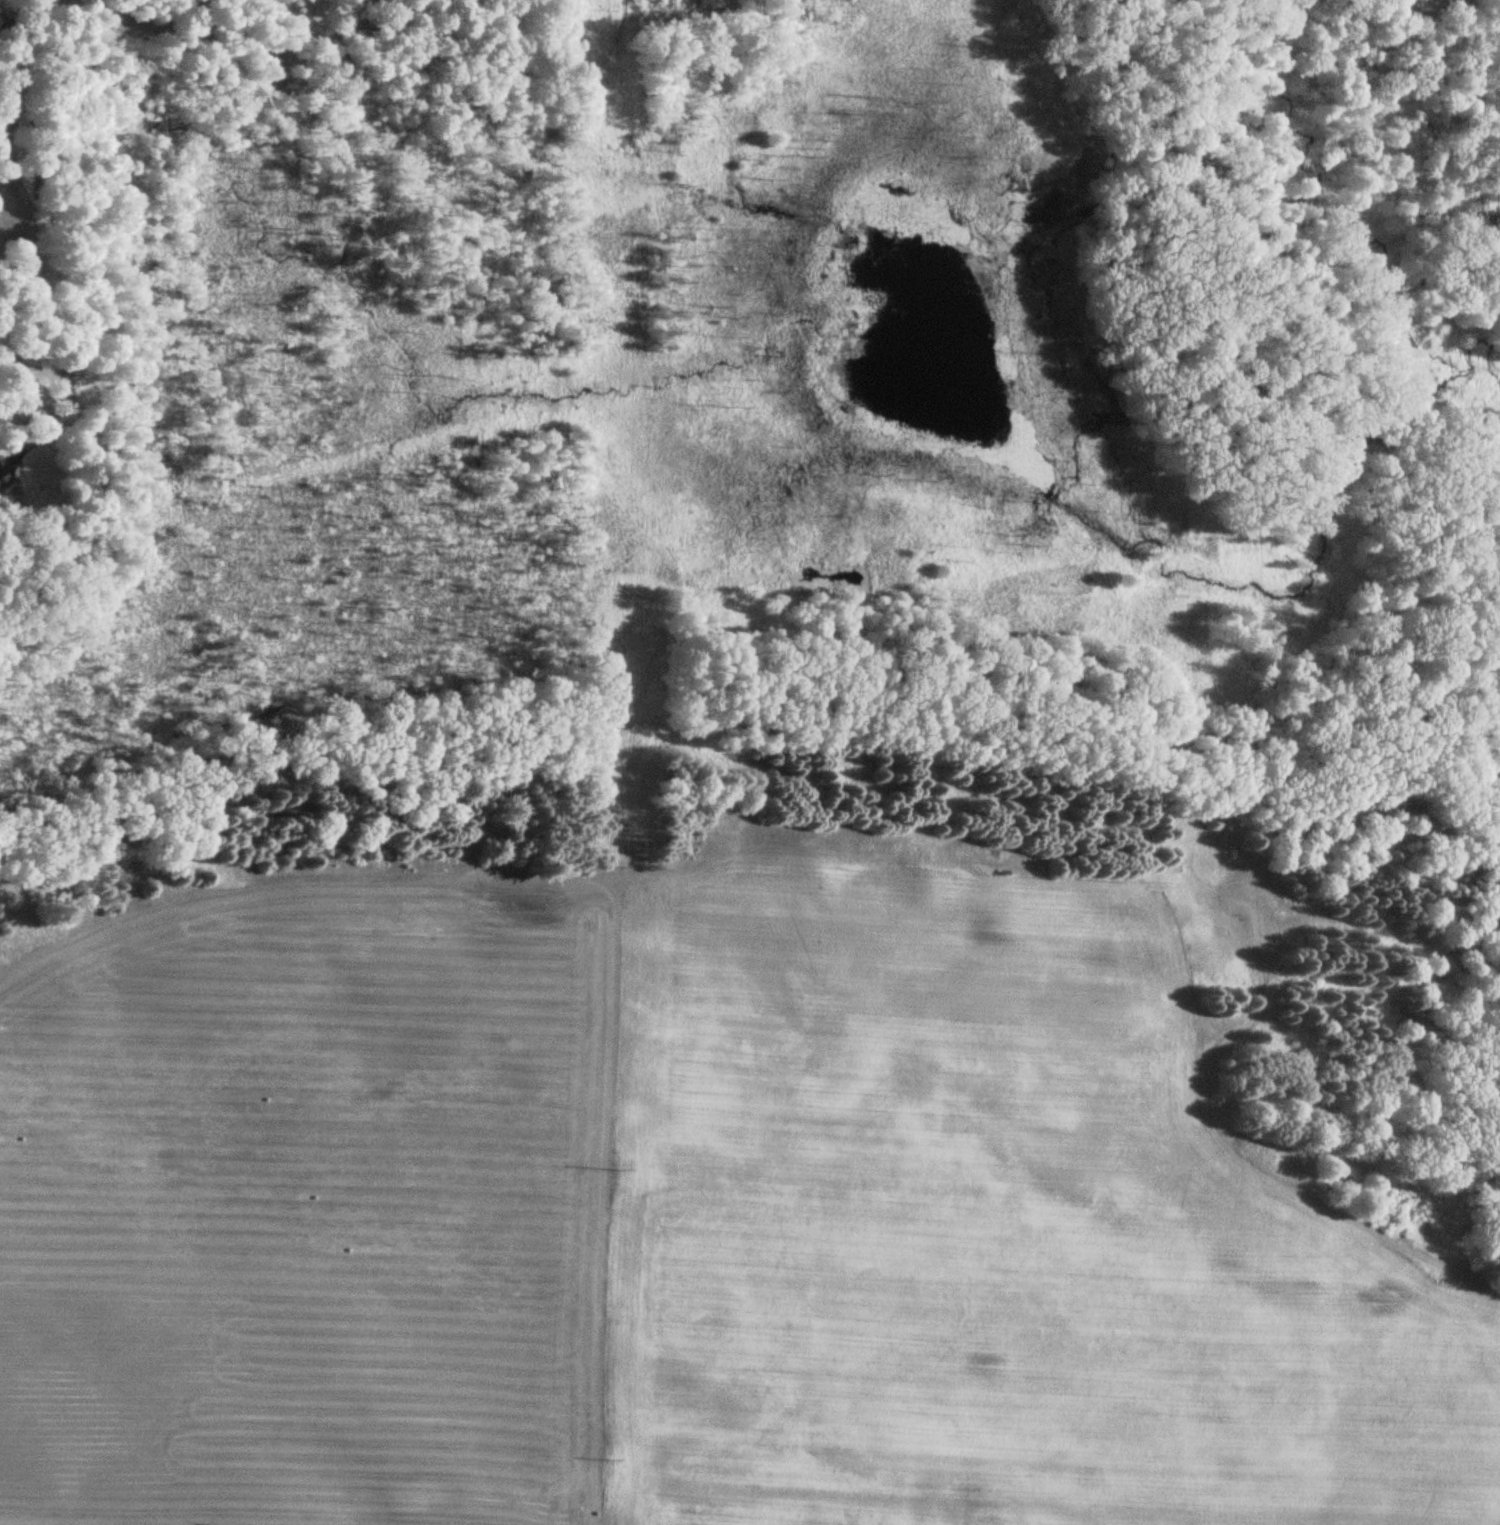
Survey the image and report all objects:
road: (1322, 1124)

